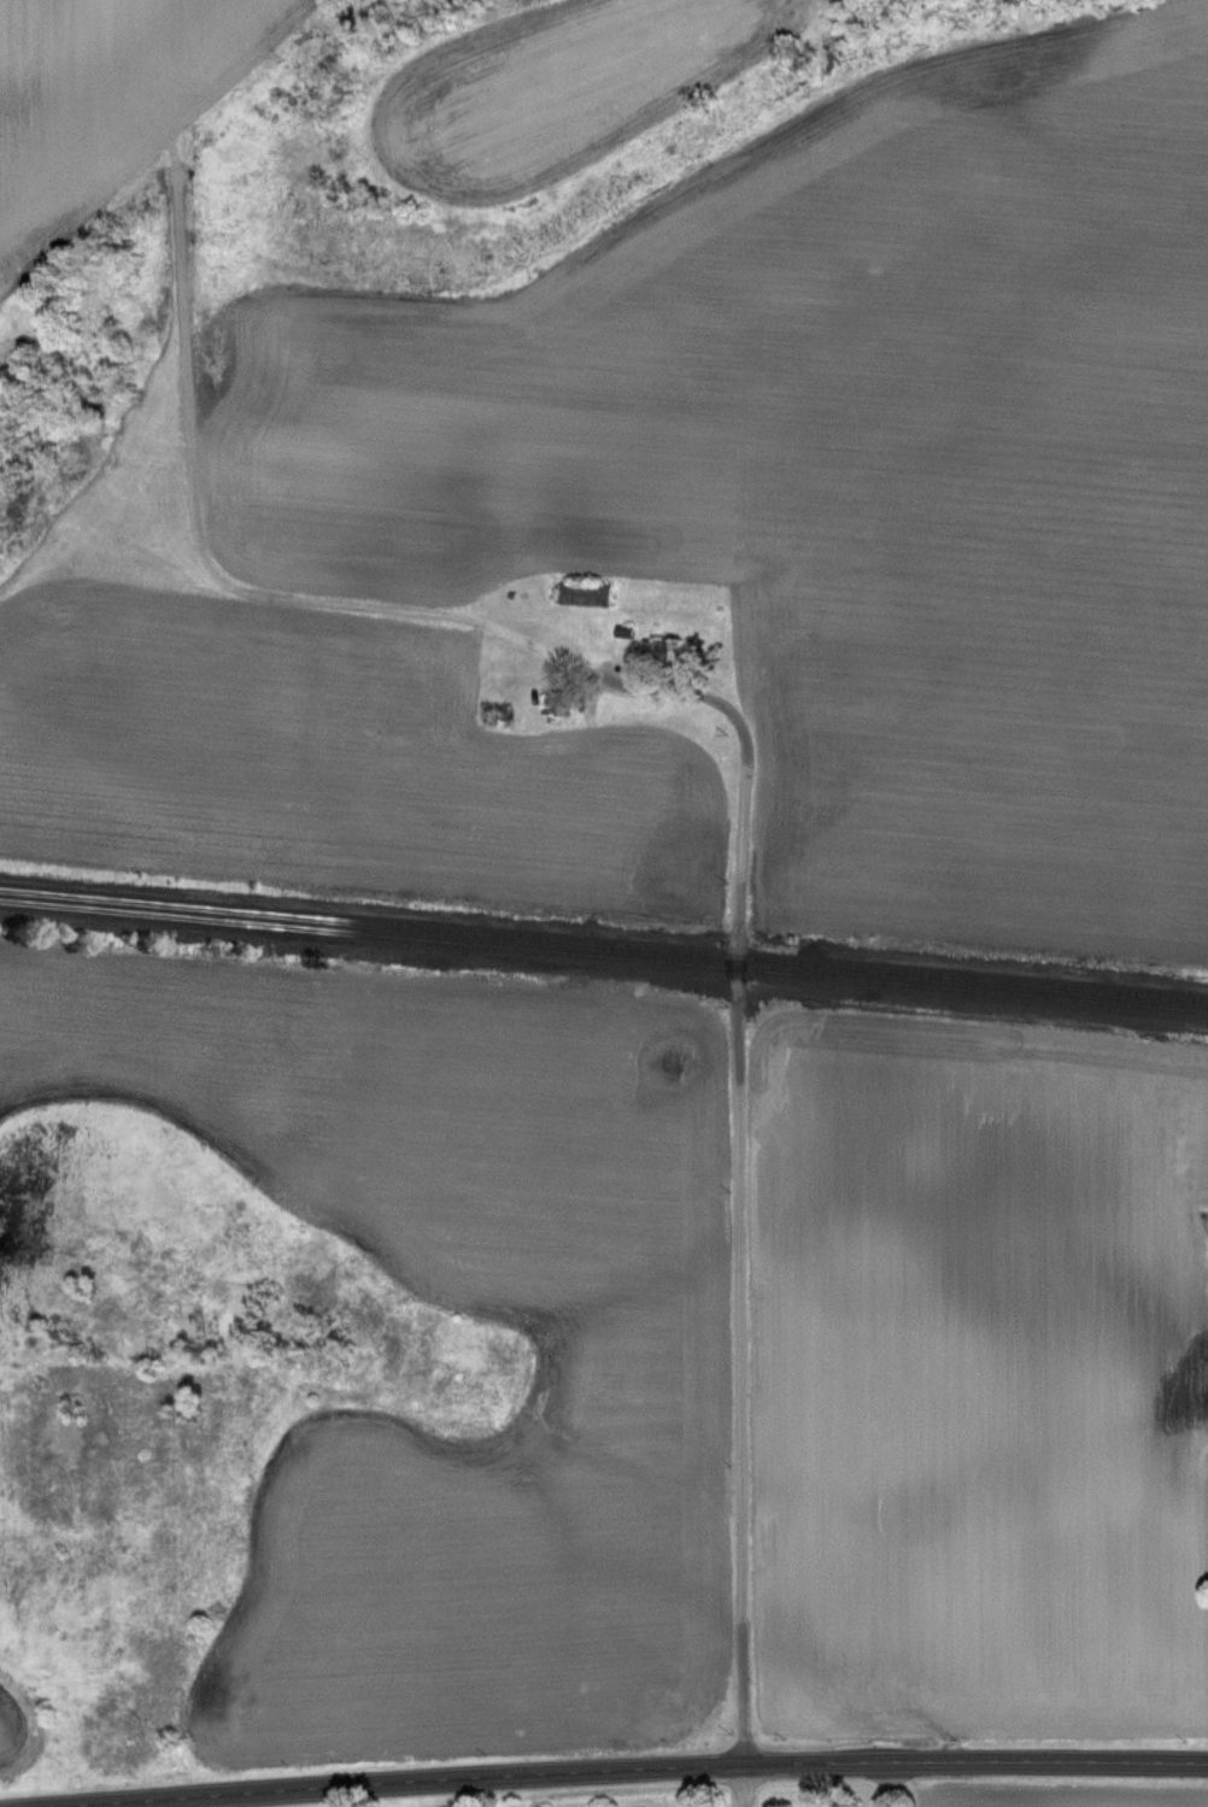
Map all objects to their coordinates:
building: (651, 650)
railway: (603, 944)
railway: (603, 957)
road: (734, 1220)
road: (635, 1765)

